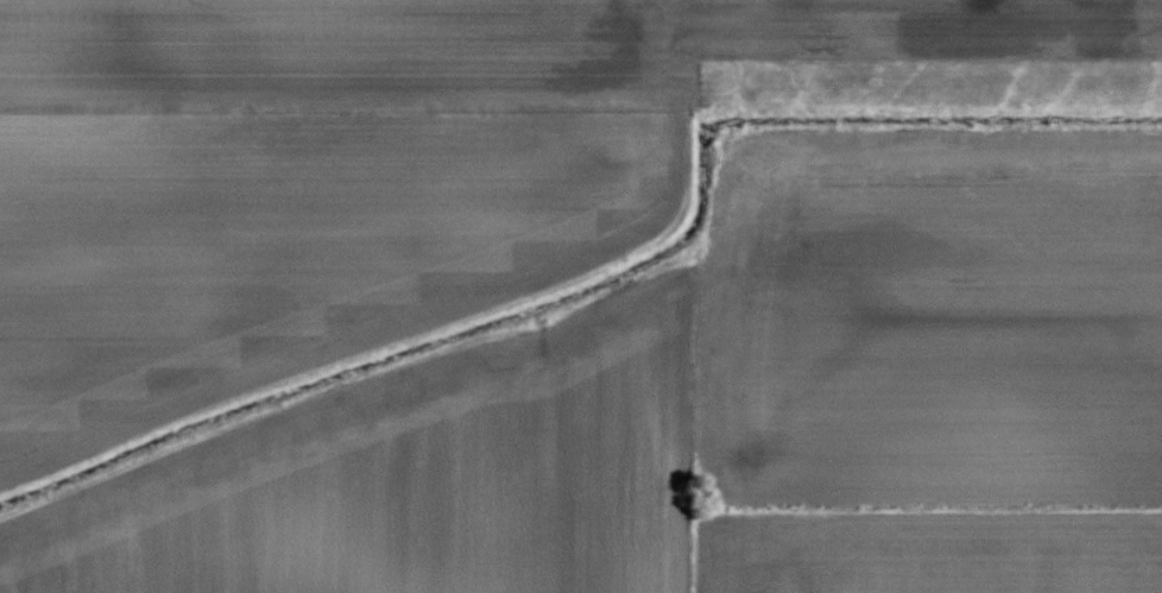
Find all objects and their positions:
crop: (581, 296)

